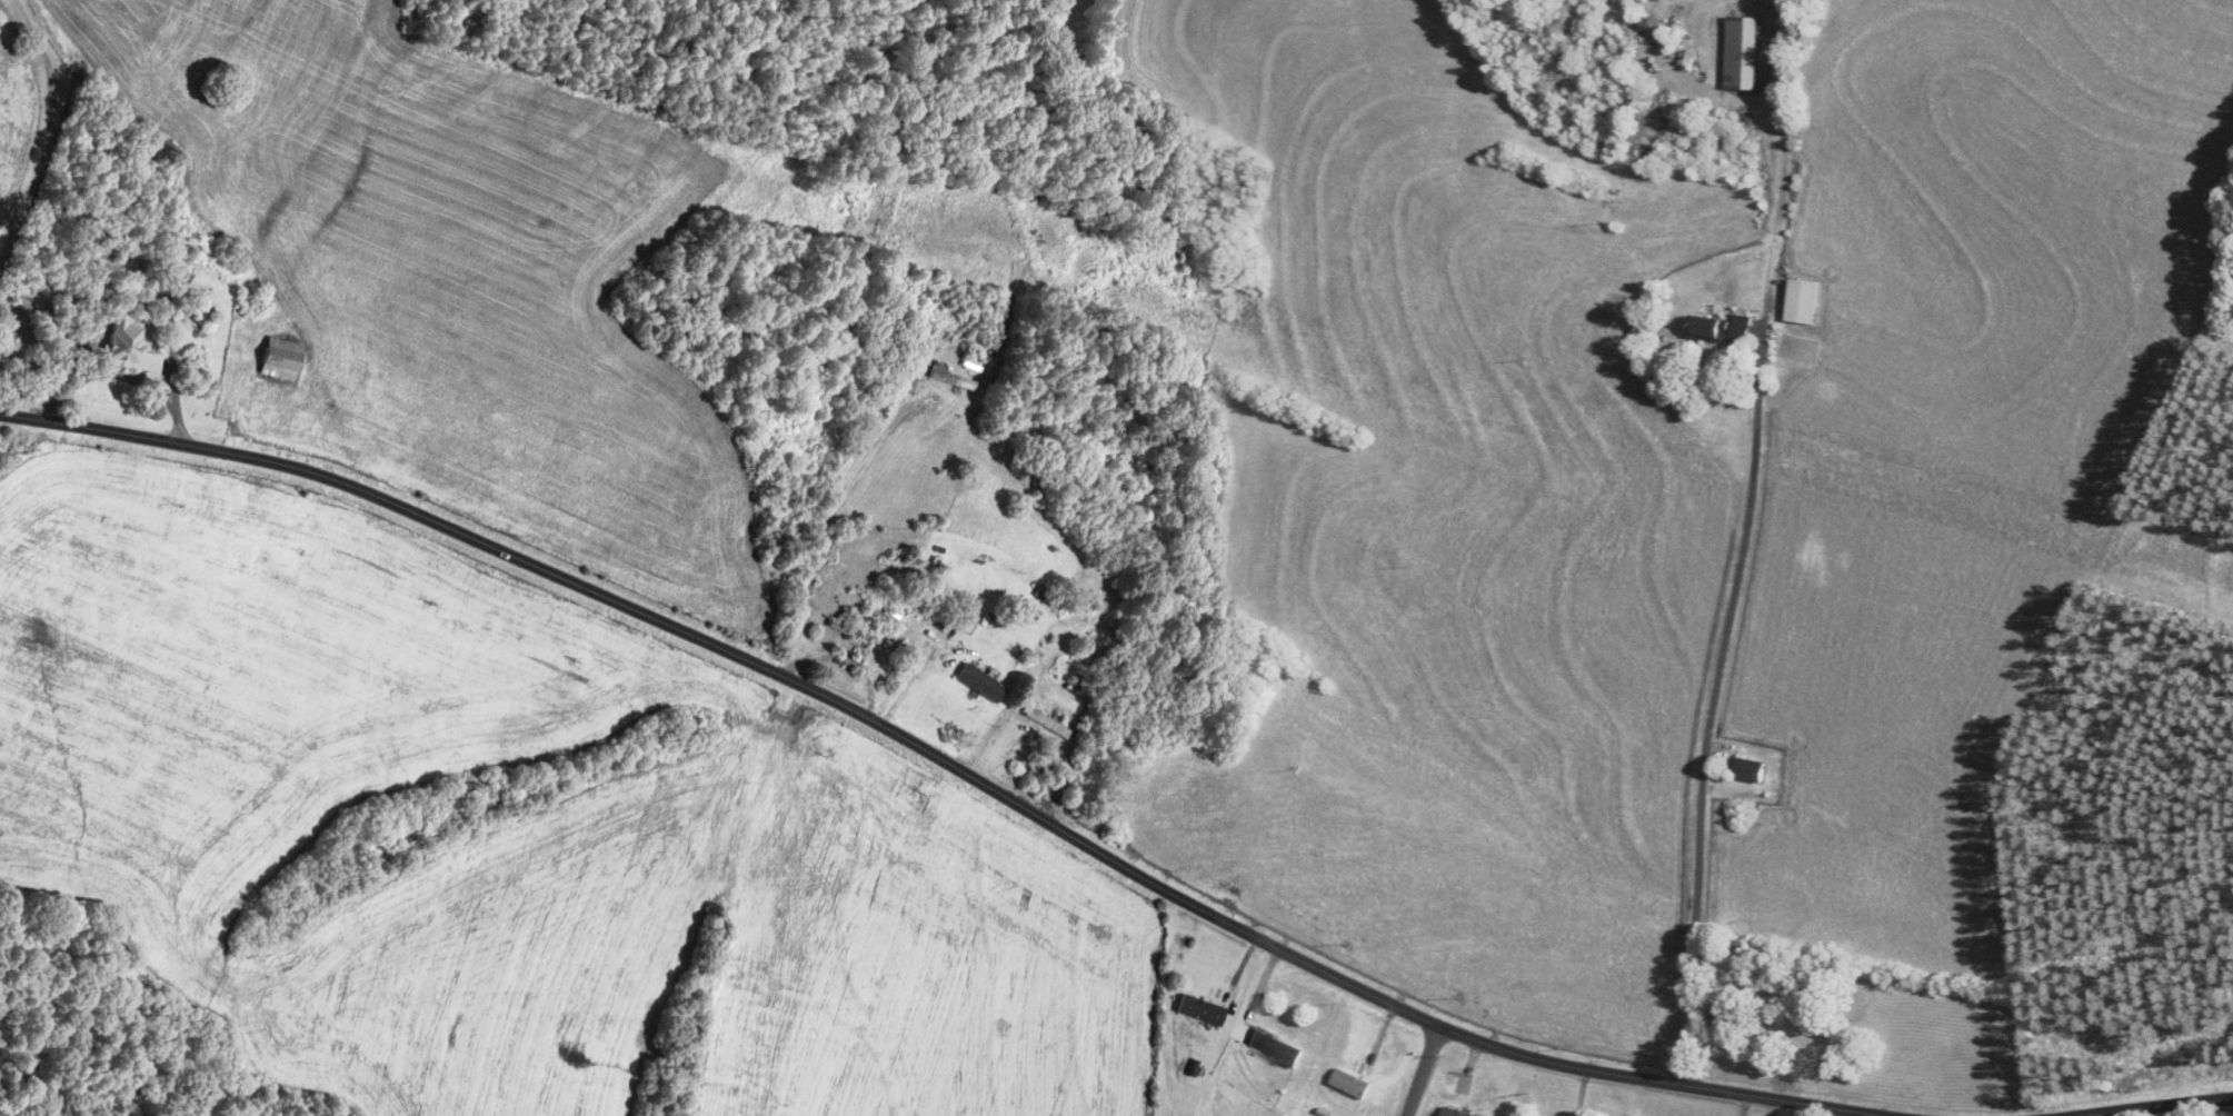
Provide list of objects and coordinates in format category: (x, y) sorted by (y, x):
building: (1742, 53)
road: (50, 130)
building: (1801, 302)
building: (1709, 329)
building: (1741, 329)
building: (127, 347)
building: (278, 359)
building: (949, 380)
building: (913, 388)
road: (826, 525)
building: (1044, 598)
road: (1733, 599)
road: (916, 670)
building: (978, 684)
building: (1078, 687)
building: (1045, 724)
road: (945, 760)
building: (1747, 770)
building: (1040, 771)
building: (1198, 1010)
building: (1719, 1018)
building: (1274, 1047)
road: (1427, 1072)
building: (1350, 1084)
road: (2155, 1106)
building: (1454, 1113)

